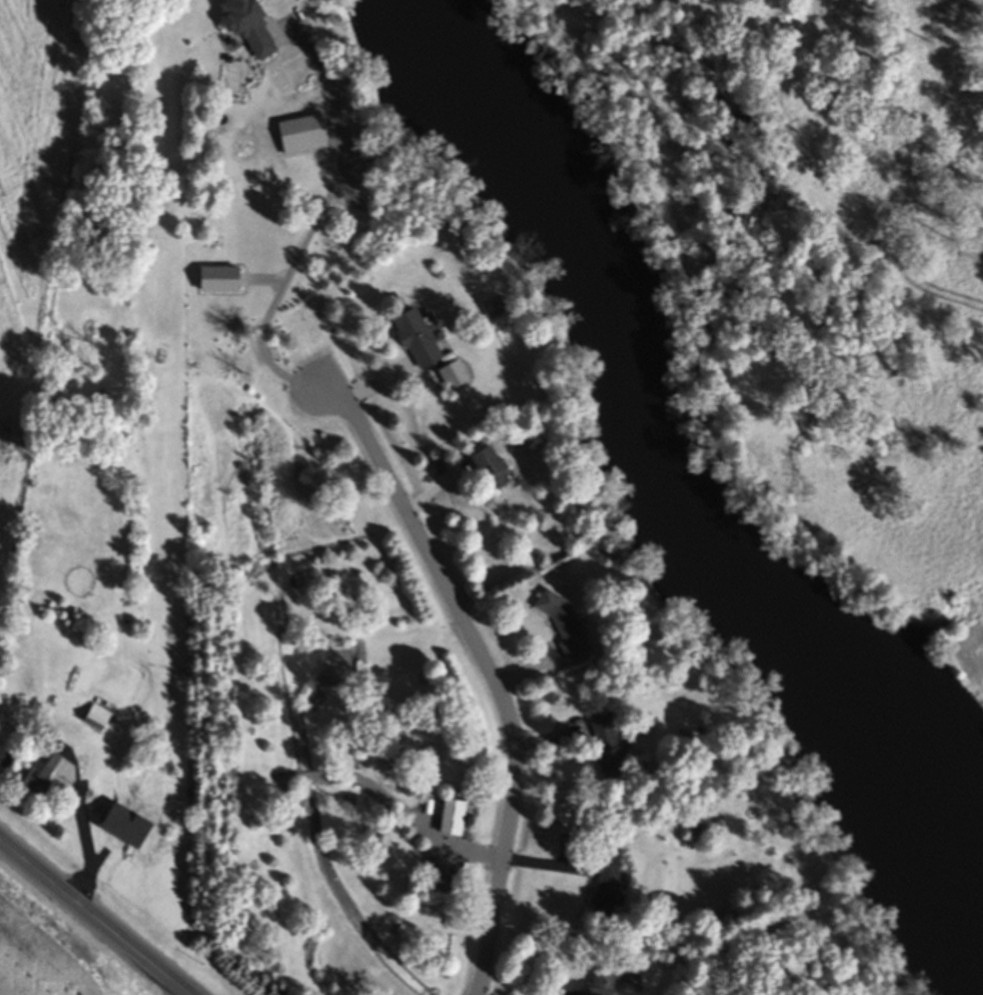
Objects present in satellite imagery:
building: (245, 28)
building: (303, 138)
road: (314, 232)
building: (416, 342)
building: (452, 378)
river: (654, 456)
building: (488, 472)
building: (563, 625)
road: (492, 678)
building: (610, 749)
building: (37, 774)
building: (452, 820)
building: (123, 827)
building: (701, 828)
road: (82, 837)
building: (609, 884)
road: (95, 915)
building: (602, 984)

